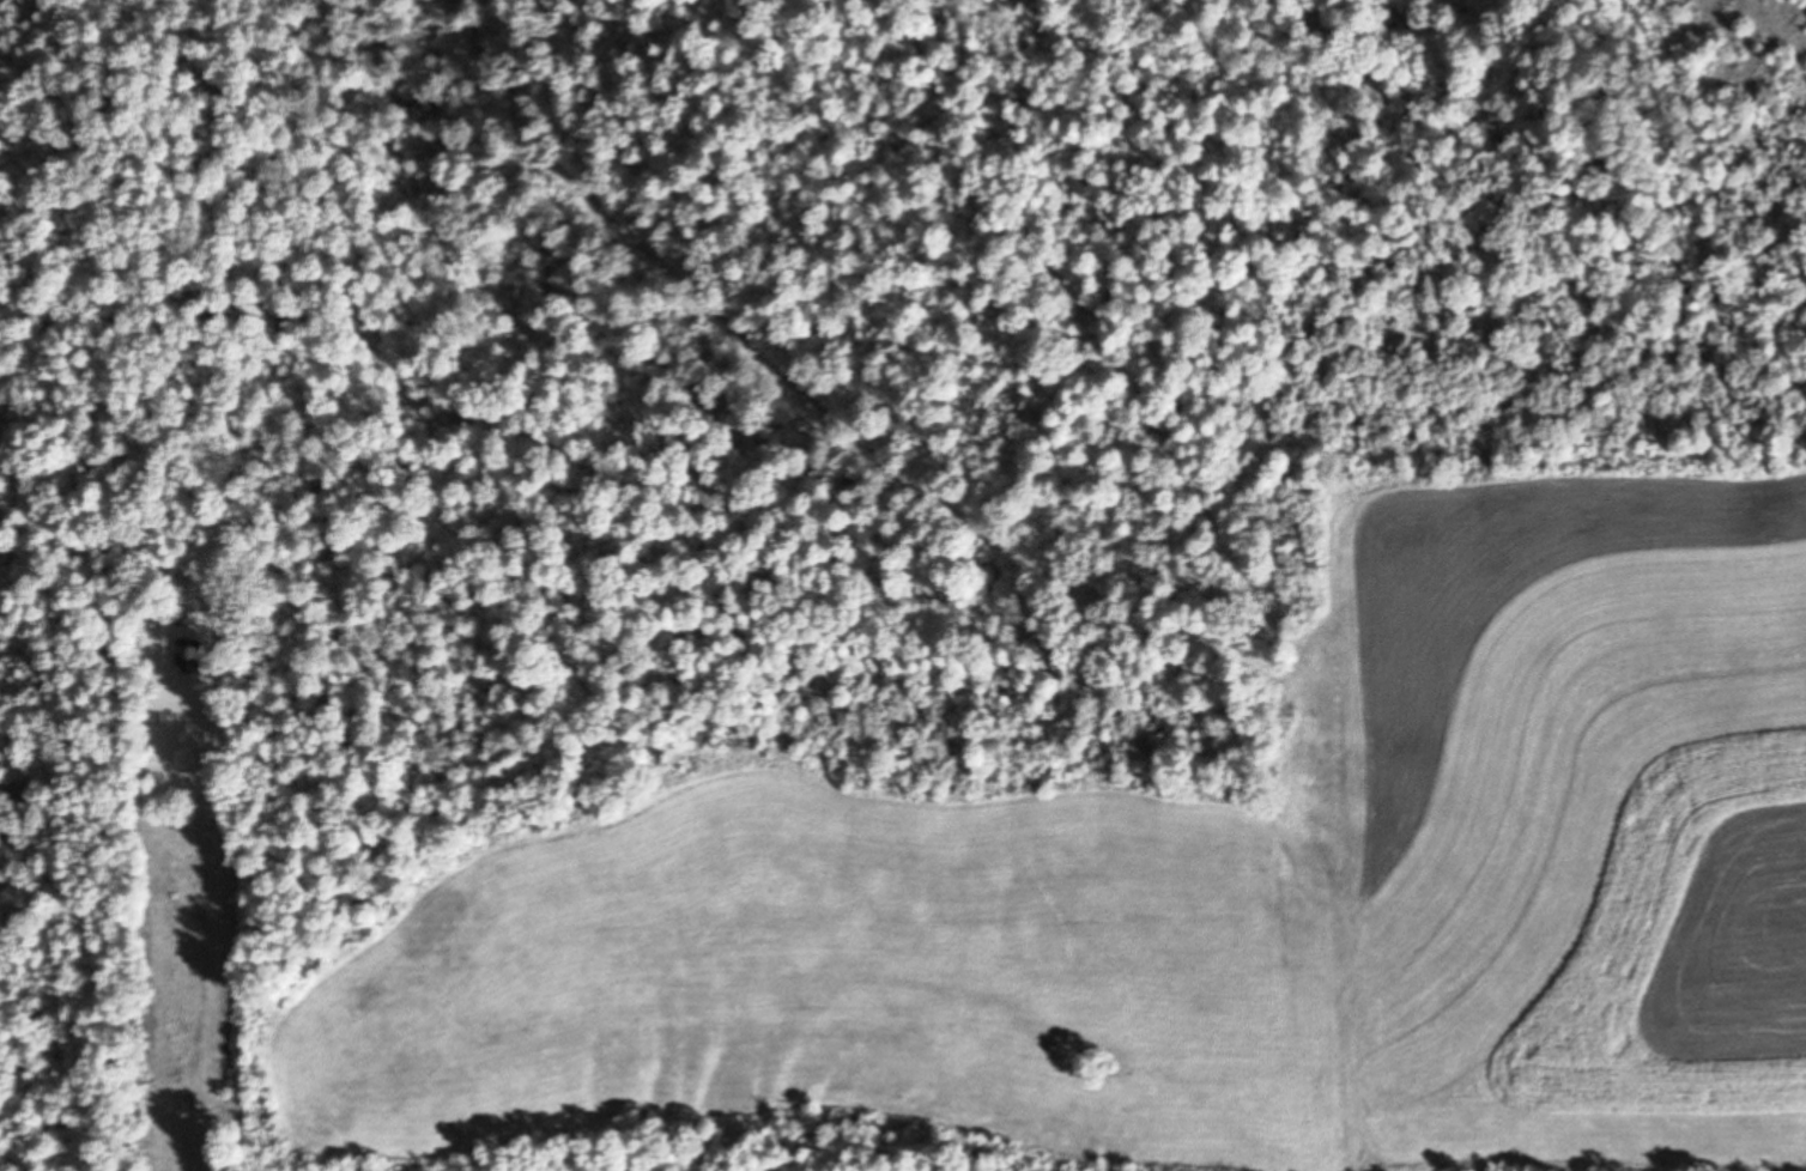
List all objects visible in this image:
building: (189, 653)

